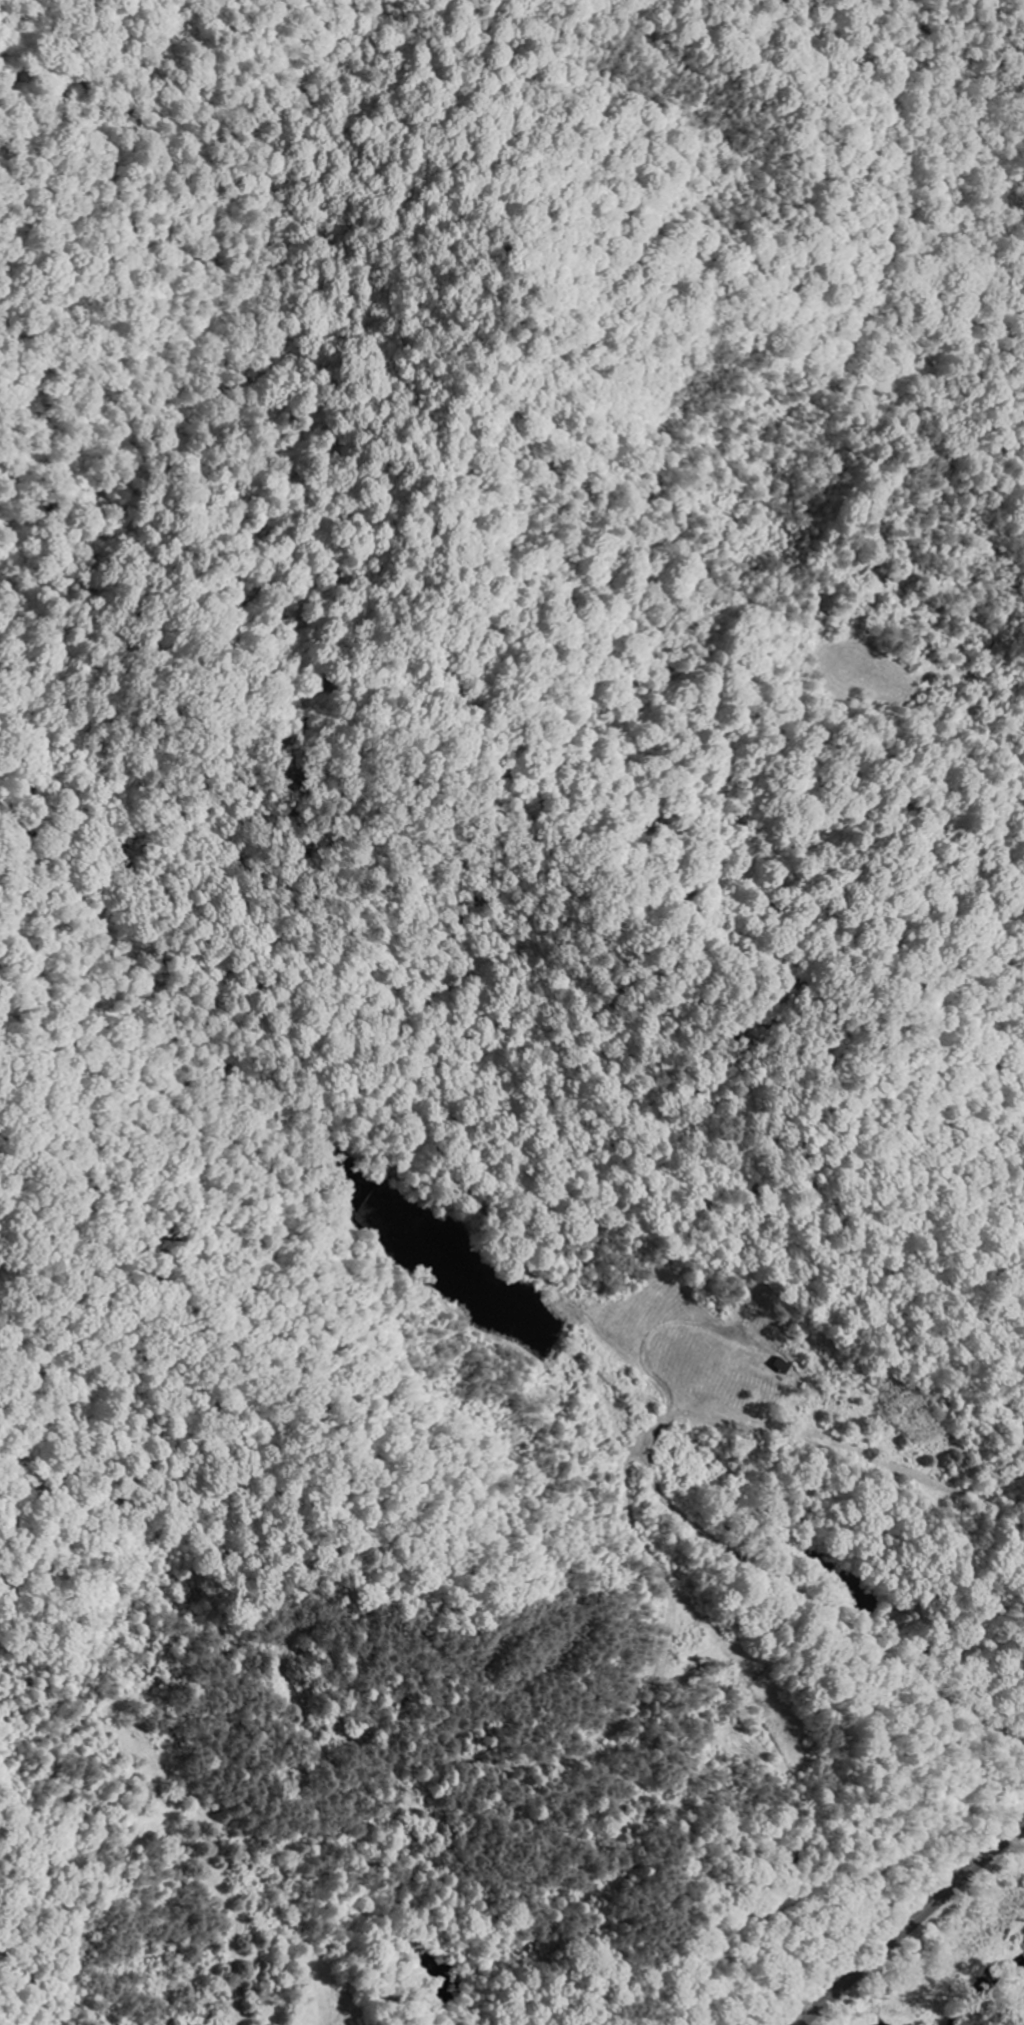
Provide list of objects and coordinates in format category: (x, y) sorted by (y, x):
road: (912, 1924)

